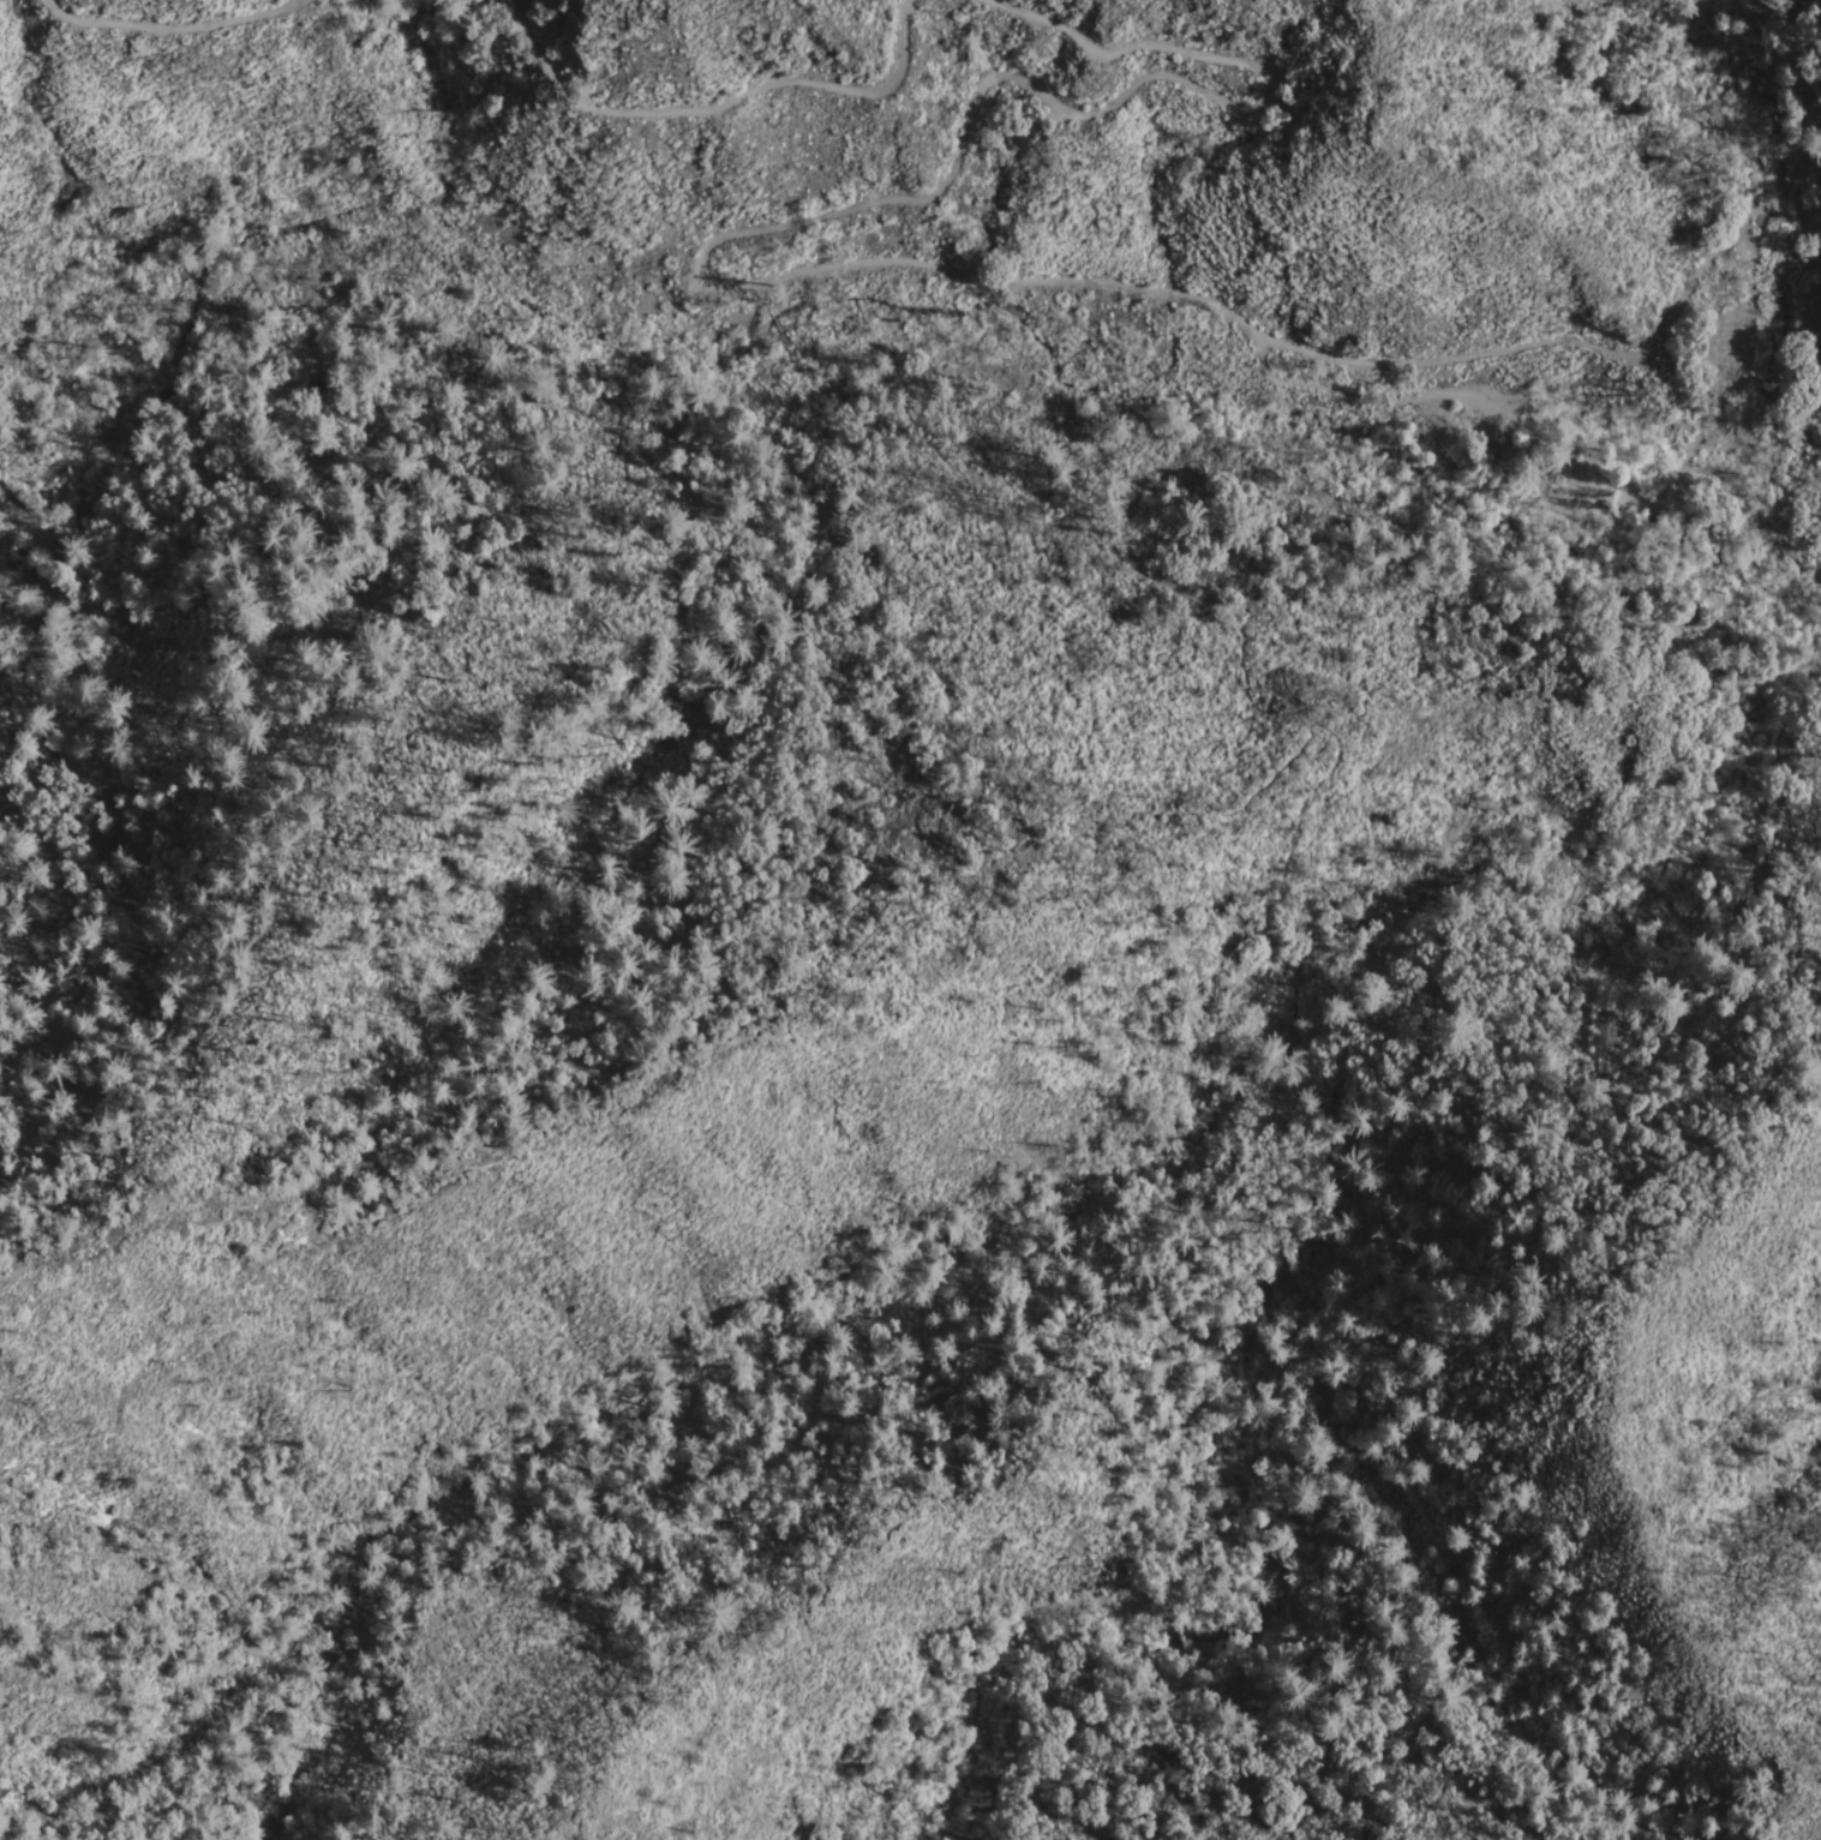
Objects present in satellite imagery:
road: (176, 30)
road: (725, 109)
road: (799, 277)
road: (1749, 320)
road: (1427, 397)
road: (1709, 440)
road: (1314, 503)
road: (1217, 605)
road: (531, 1012)

